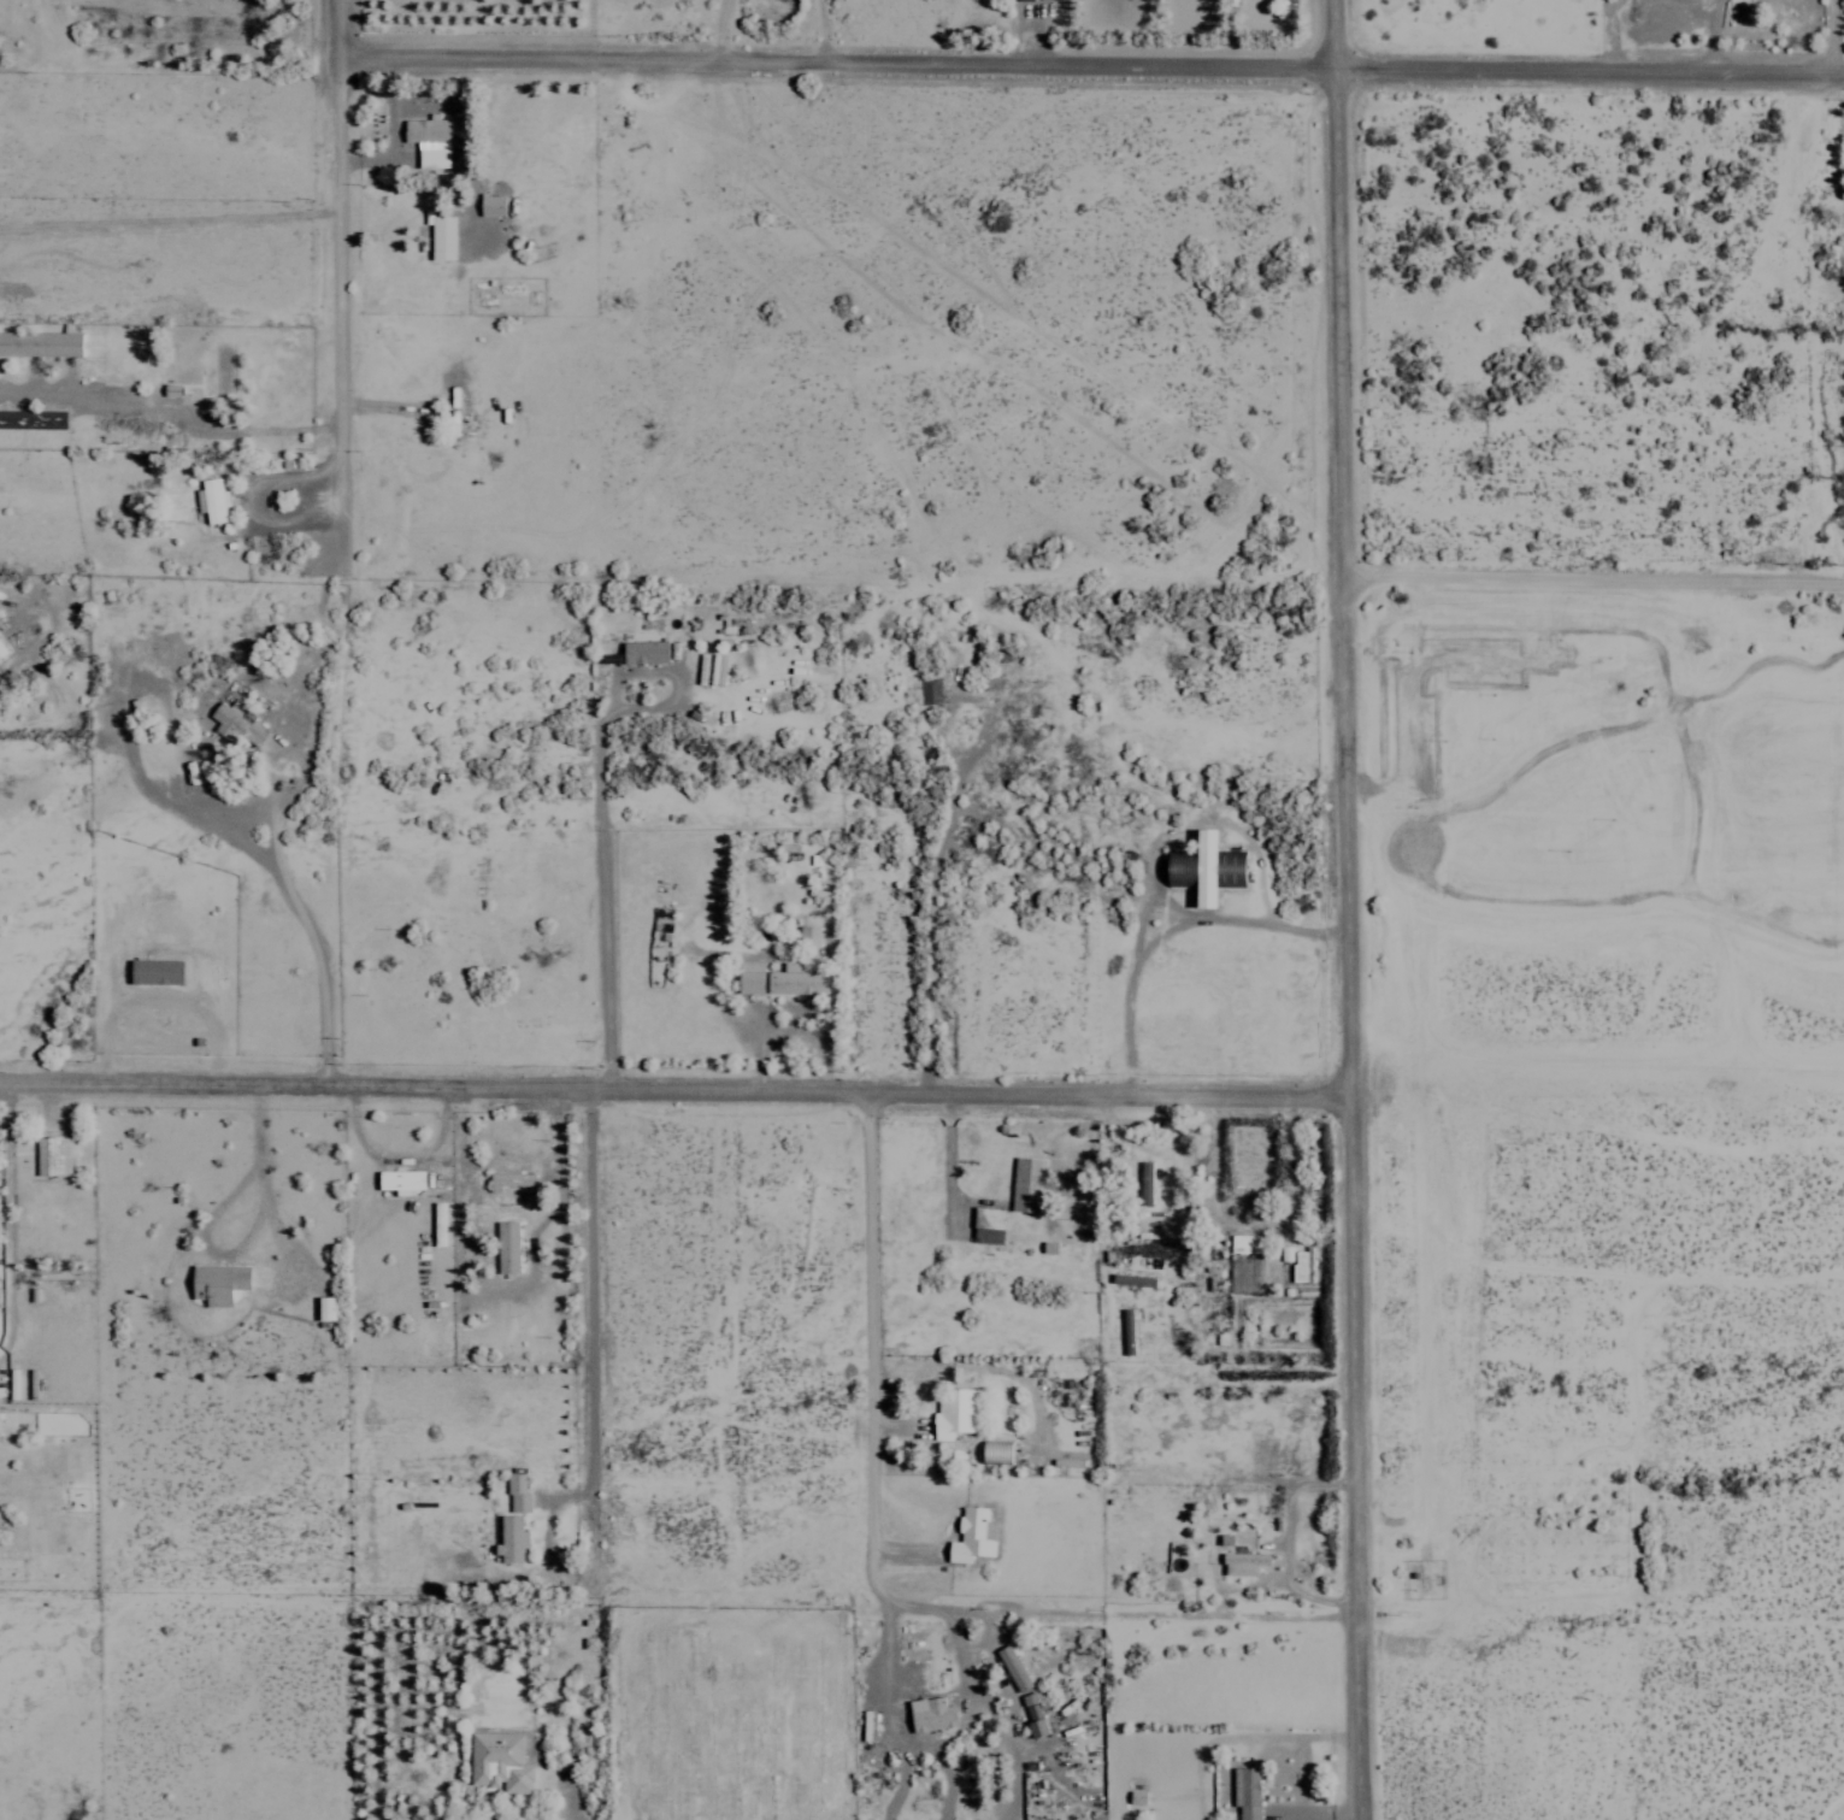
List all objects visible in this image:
road: (342, 24)
road: (1092, 67)
building: (428, 140)
building: (490, 205)
building: (440, 237)
road: (343, 305)
building: (40, 343)
building: (31, 419)
building: (210, 500)
road: (1595, 576)
building: (1, 650)
building: (643, 652)
building: (236, 724)
building: (1209, 868)
road: (1345, 909)
building: (807, 936)
building: (154, 972)
building: (748, 976)
building: (794, 980)
road: (674, 1085)
building: (52, 1156)
building: (508, 1180)
building: (399, 1182)
building: (1143, 1183)
building: (1026, 1184)
park: (1626, 1214)
building: (988, 1225)
building: (1244, 1243)
building: (505, 1247)
building: (1301, 1265)
building: (1131, 1279)
building: (216, 1283)
building: (323, 1308)
road: (595, 1320)
road: (874, 1348)
building: (954, 1414)
building: (994, 1451)
building: (516, 1494)
building: (971, 1537)
building: (509, 1539)
building: (1242, 1563)
building: (1011, 1668)
building: (929, 1713)
building: (1032, 1714)
building: (497, 1761)
building: (1245, 1792)
building: (1136, 1796)

